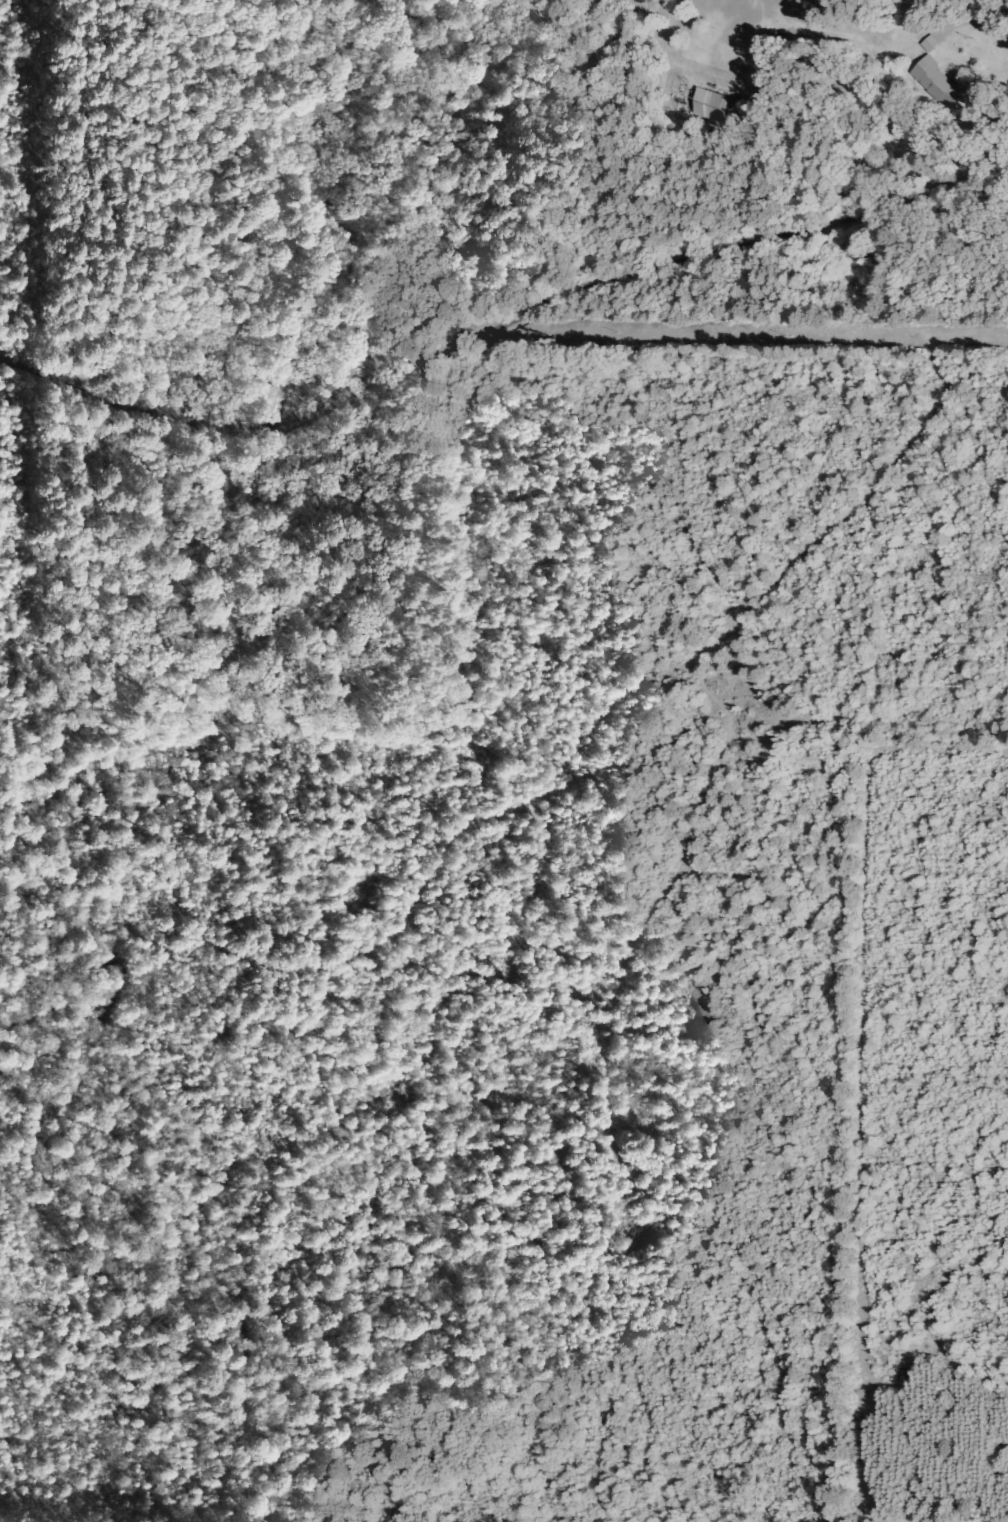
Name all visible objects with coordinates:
road: (972, 58)
road: (827, 94)
road: (496, 98)
road: (507, 390)

